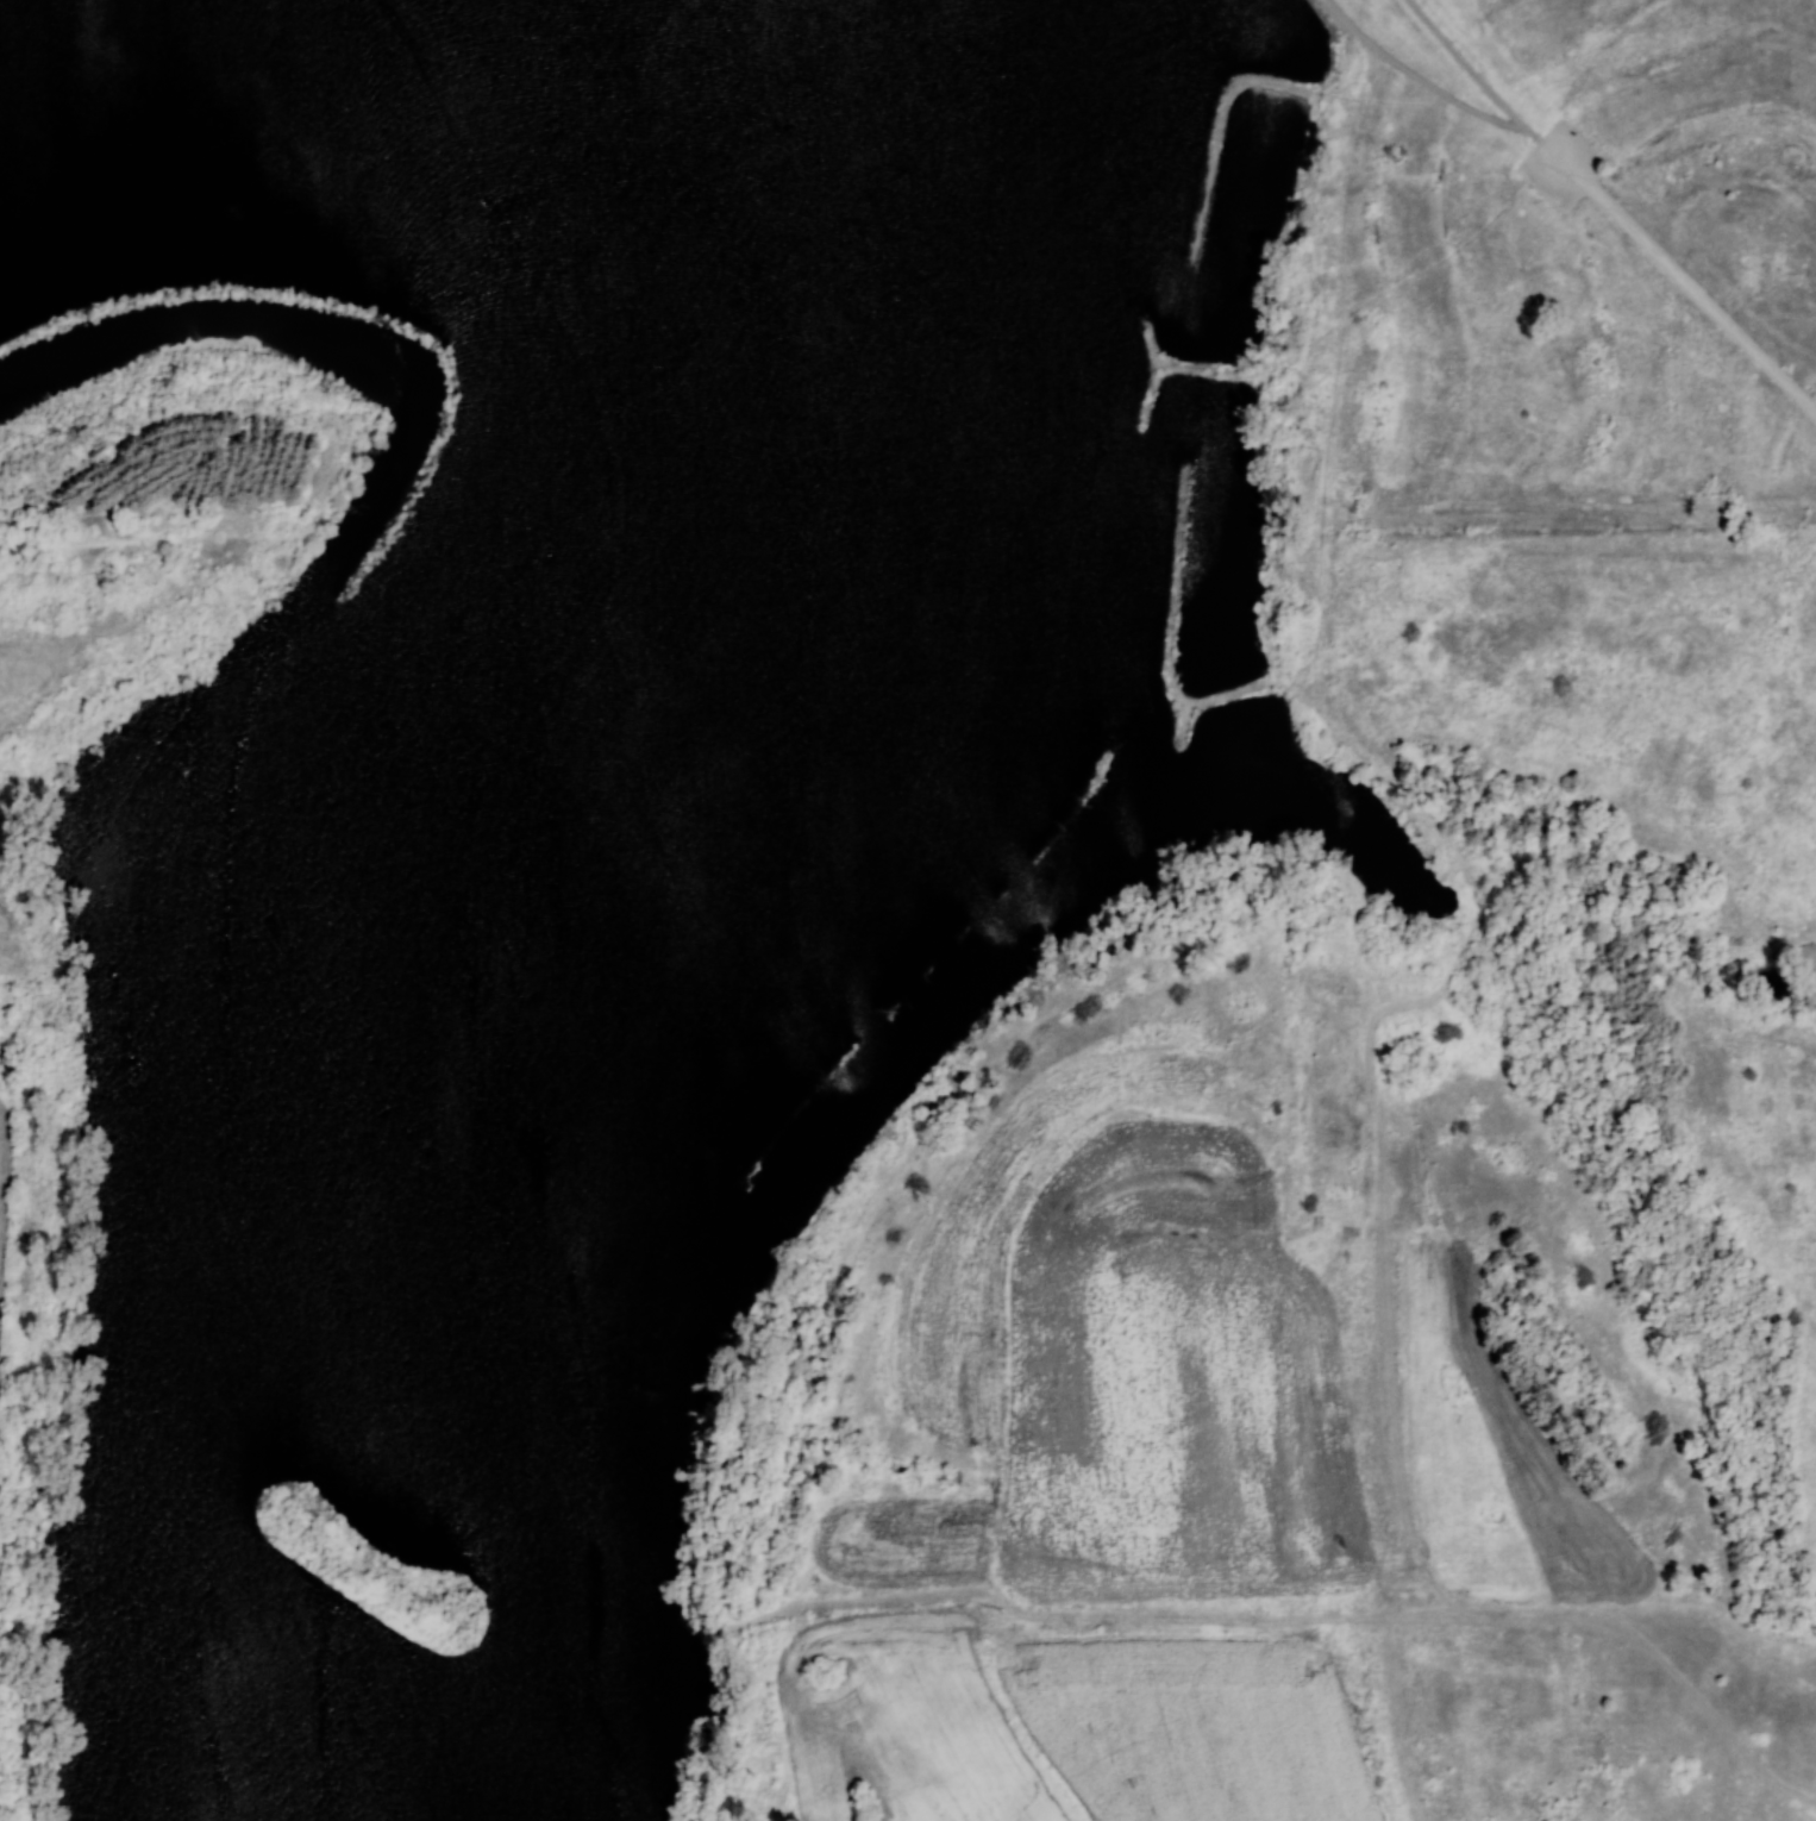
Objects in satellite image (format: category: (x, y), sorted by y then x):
dam: (1326, 4)
dam: (1476, 65)
road: (1472, 71)
road: (1409, 74)
parking lot: (1561, 159)
road: (1678, 275)

